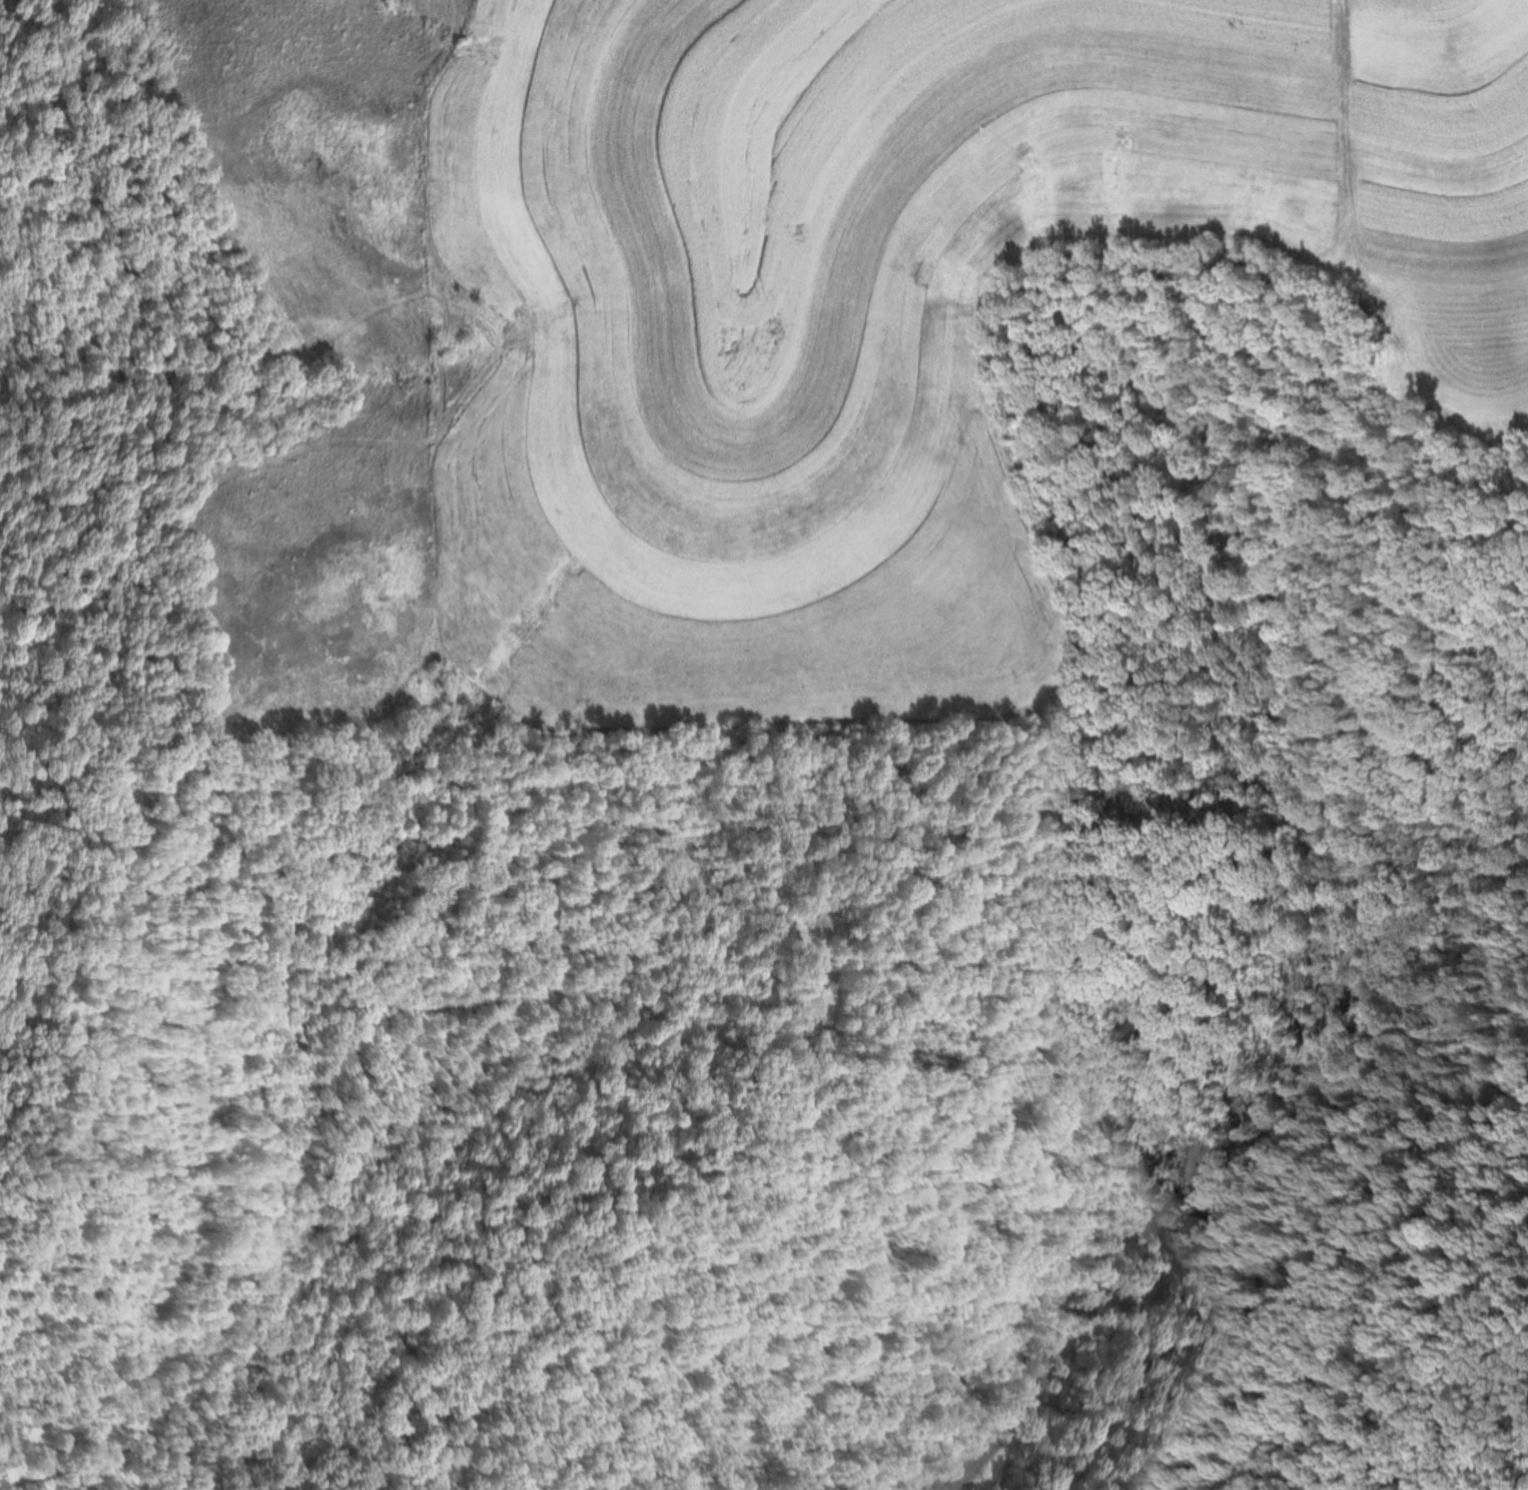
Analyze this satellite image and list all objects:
road: (104, 1296)

